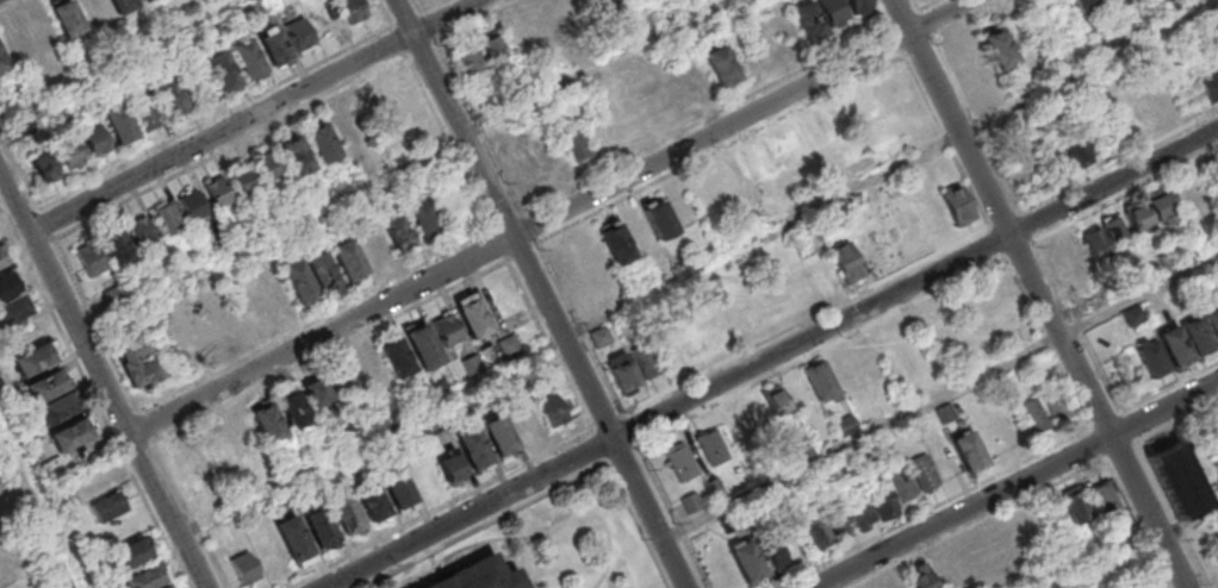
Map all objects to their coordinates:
building: (144, 0)
building: (1119, 2)
building: (604, 4)
building: (122, 5)
building: (858, 6)
building: (1085, 7)
building: (352, 10)
building: (833, 12)
road: (449, 17)
building: (67, 18)
building: (809, 21)
building: (300, 35)
building: (535, 35)
building: (1110, 39)
building: (274, 46)
building: (492, 49)
building: (999, 49)
road: (117, 61)
building: (468, 61)
building: (2, 63)
building: (248, 64)
building: (721, 65)
building: (222, 77)
building: (1208, 86)
building: (403, 101)
building: (172, 102)
building: (1157, 112)
building: (148, 114)
building: (120, 127)
building: (348, 127)
road: (225, 132)
building: (95, 140)
building: (321, 142)
building: (577, 143)
building: (1075, 151)
building: (72, 155)
building: (296, 155)
building: (268, 165)
road: (406, 165)
building: (45, 167)
building: (243, 176)
building: (217, 192)
building: (192, 205)
building: (957, 205)
building: (1149, 214)
building: (168, 217)
building: (423, 218)
building: (659, 219)
road: (554, 220)
building: (141, 230)
building: (398, 231)
building: (1105, 240)
building: (616, 243)
building: (116, 244)
building: (373, 245)
building: (89, 258)
building: (1, 259)
building: (348, 261)
building: (845, 261)
building: (1164, 263)
road: (698, 269)
building: (310, 276)
building: (8, 283)
road: (543, 293)
road: (1043, 293)
road: (1141, 296)
building: (13, 309)
building: (472, 315)
building: (220, 326)
building: (446, 329)
building: (1201, 330)
building: (599, 337)
building: (197, 343)
building: (884, 343)
building: (422, 344)
building: (509, 346)
building: (1164, 352)
building: (35, 358)
building: (396, 358)
road: (770, 358)
building: (138, 361)
building: (646, 361)
building: (372, 374)
building: (623, 374)
road: (101, 376)
building: (821, 382)
building: (45, 386)
building: (317, 392)
building: (775, 399)
building: (1057, 405)
building: (57, 408)
building: (293, 409)
building: (552, 409)
building: (1033, 417)
building: (267, 421)
building: (845, 425)
building: (241, 432)
building: (72, 433)
building: (501, 436)
road: (863, 438)
building: (714, 446)
building: (217, 448)
building: (473, 449)
building: (803, 449)
building: (968, 452)
building: (679, 462)
building: (189, 465)
building: (450, 467)
building: (912, 478)
building: (93, 482)
building: (1176, 482)
road: (1017, 486)
building: (397, 489)
building: (1105, 500)
building: (372, 502)
building: (690, 502)
road: (41, 503)
building: (108, 506)
building: (1075, 506)
building: (870, 507)
building: (346, 515)
building: (838, 523)
building: (319, 527)
building: (813, 531)
building: (293, 539)
road: (1142, 549)
building: (775, 551)
building: (132, 552)
building: (747, 562)
building: (244, 568)
building: (477, 576)
building: (920, 576)
building: (144, 577)
building: (164, 587)

